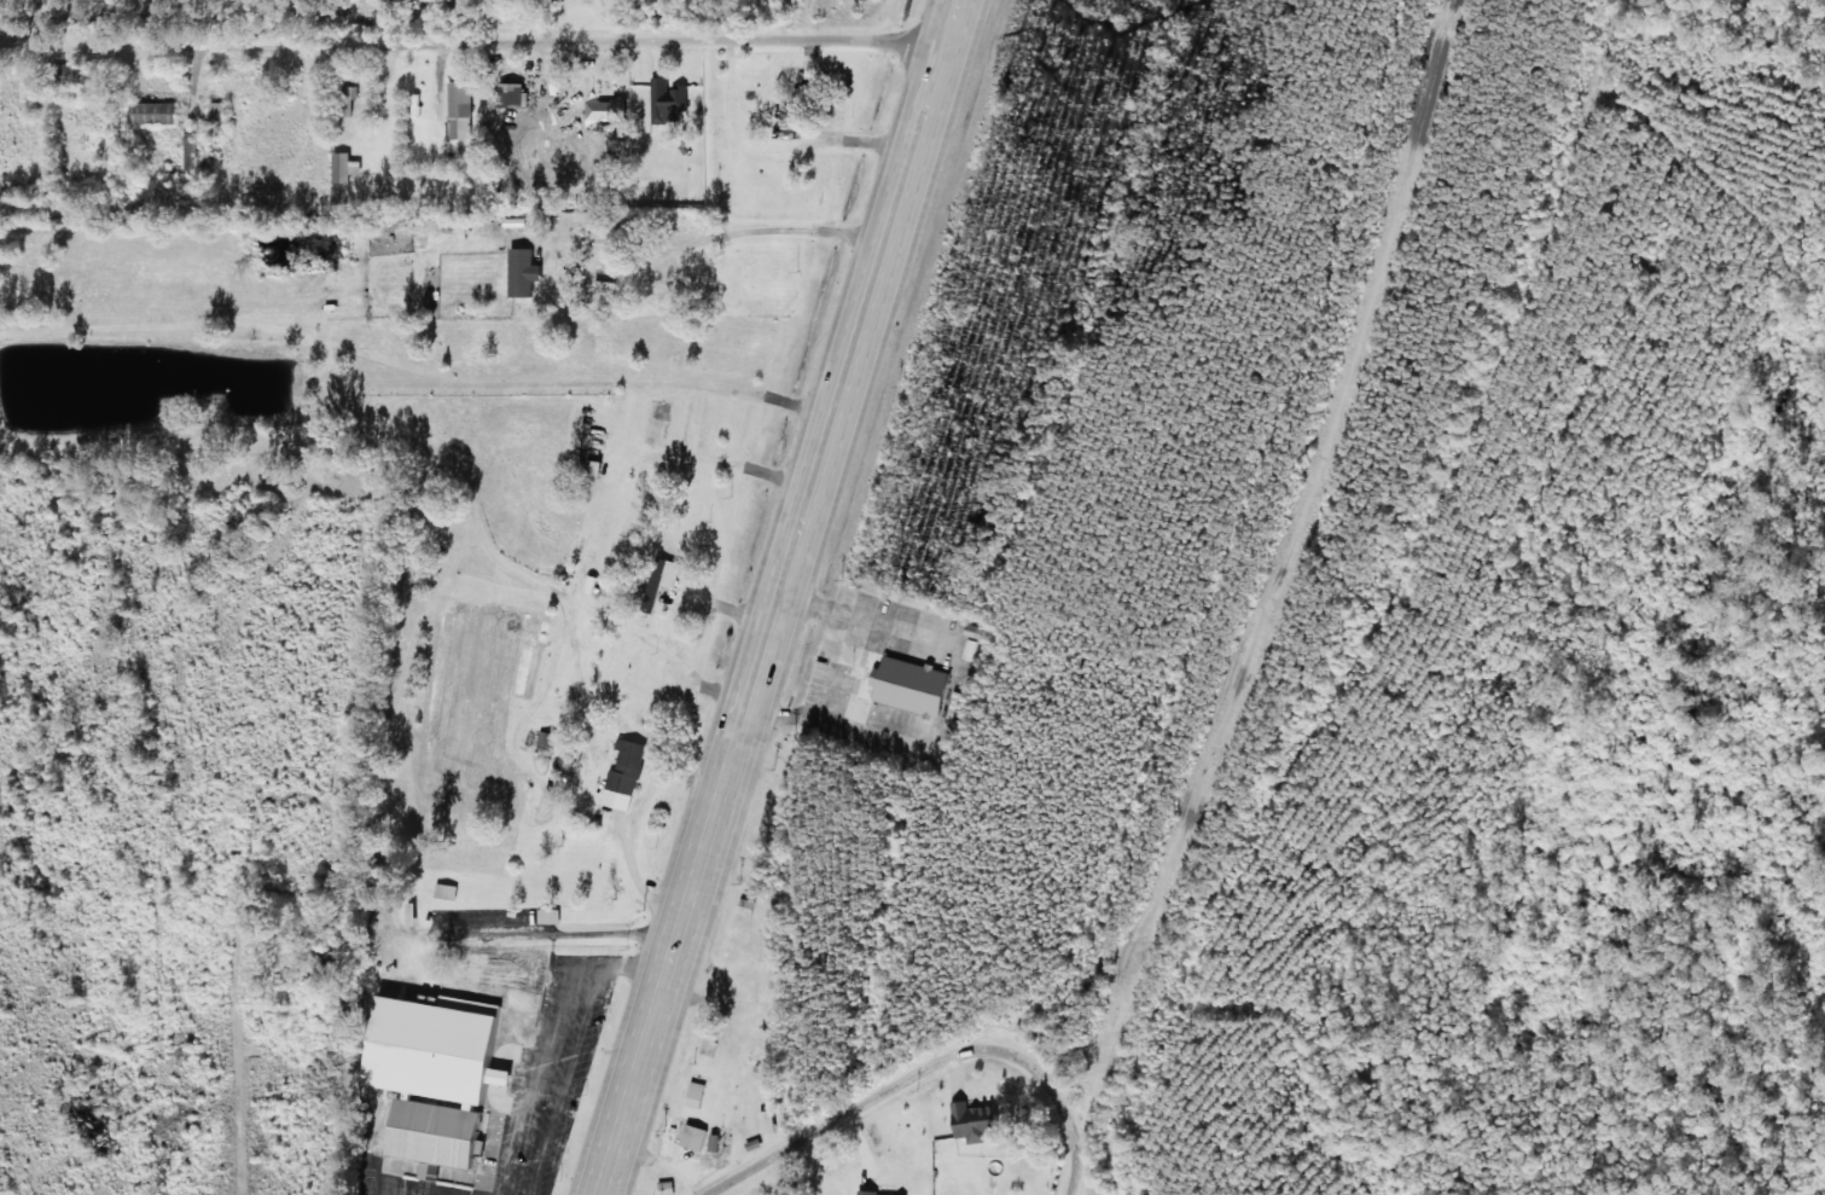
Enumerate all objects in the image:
road: (469, 63)
building: (515, 93)
building: (669, 99)
building: (463, 108)
building: (155, 112)
building: (220, 114)
building: (347, 167)
road: (575, 445)
building: (593, 584)
road: (778, 597)
road: (1393, 626)
building: (914, 685)
building: (548, 739)
building: (569, 758)
building: (626, 775)
building: (449, 891)
building: (550, 915)
building: (513, 973)
road: (374, 1000)
road: (1102, 1083)
road: (1021, 1089)
building: (698, 1094)
building: (771, 1120)
building: (971, 1121)
road: (816, 1126)
building: (696, 1137)
building: (715, 1142)
road: (1077, 1173)
building: (668, 1187)
building: (876, 1194)

